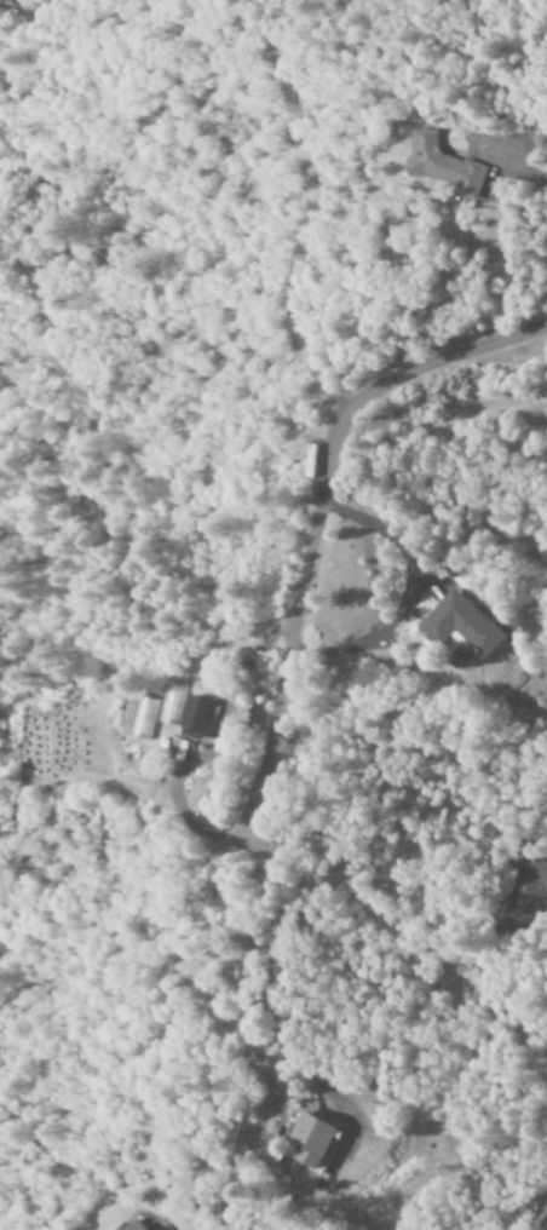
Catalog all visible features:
building: (431, 168)
road: (313, 517)
building: (459, 623)
building: (166, 703)
building: (189, 715)
building: (138, 718)
building: (524, 890)
road: (271, 996)
road: (248, 1038)
building: (307, 1140)
building: (132, 1225)

